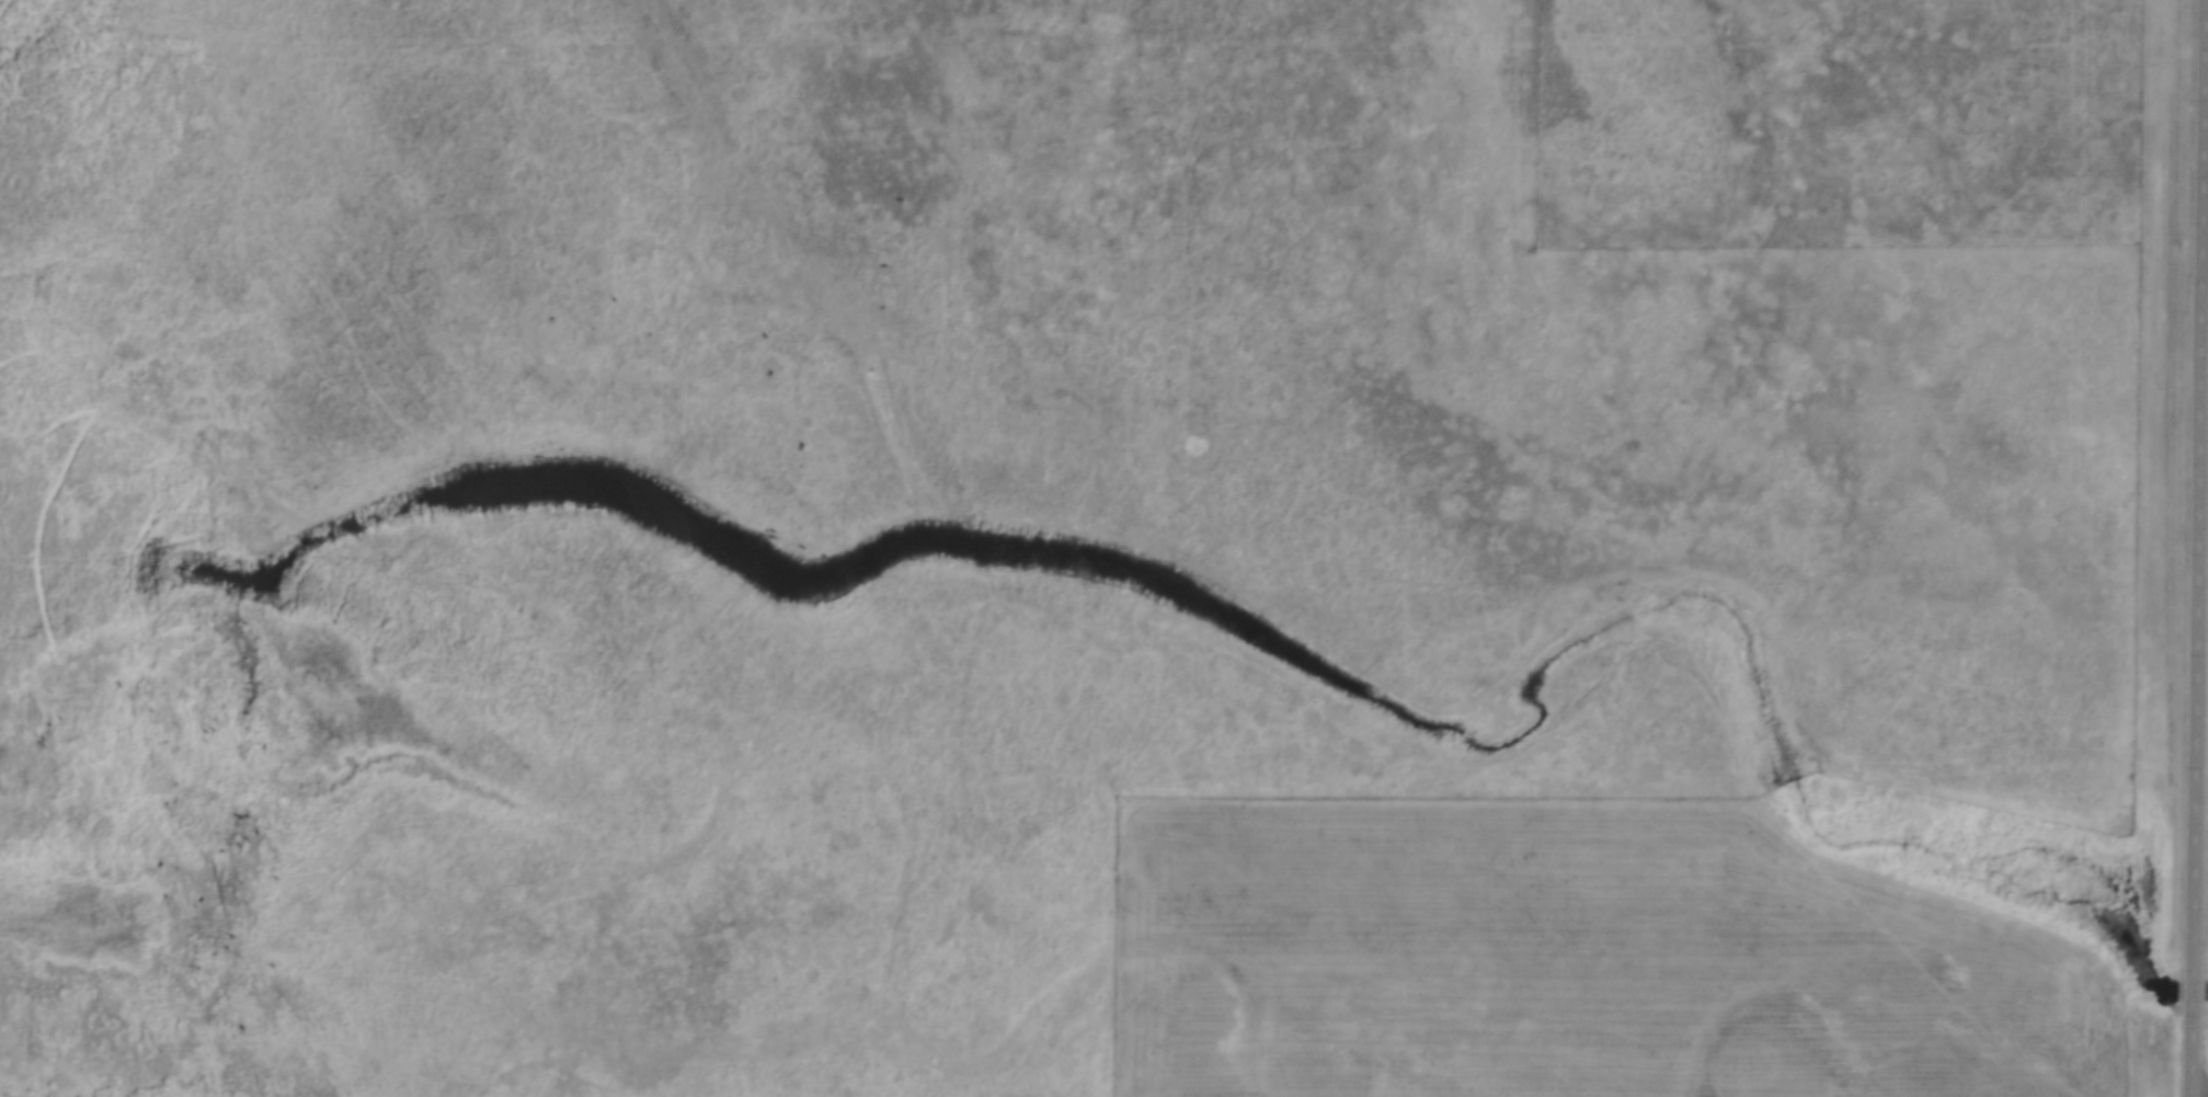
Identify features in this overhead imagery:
road: (2206, 59)
road: (2198, 548)
road: (2197, 1094)

